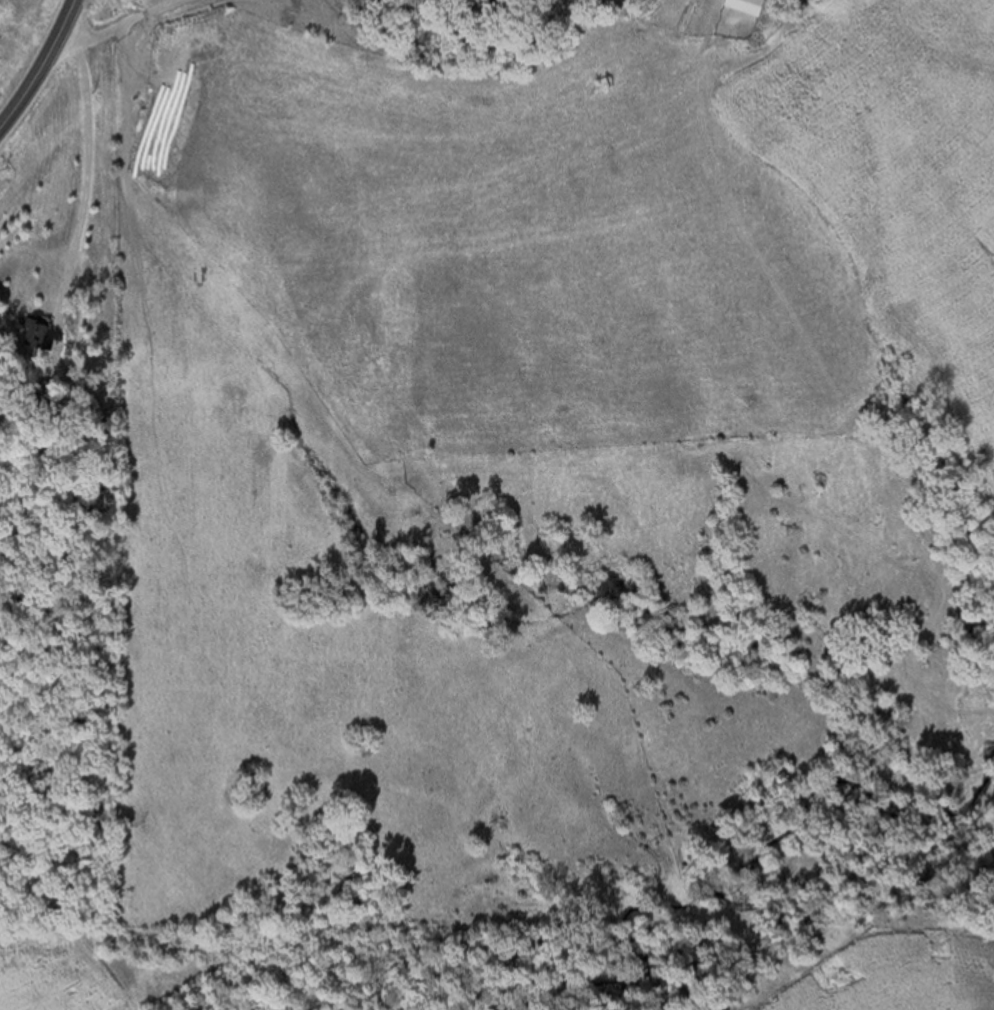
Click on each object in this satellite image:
building: (752, 6)
building: (691, 16)
road: (66, 20)
road: (119, 25)
road: (30, 85)
building: (39, 333)

